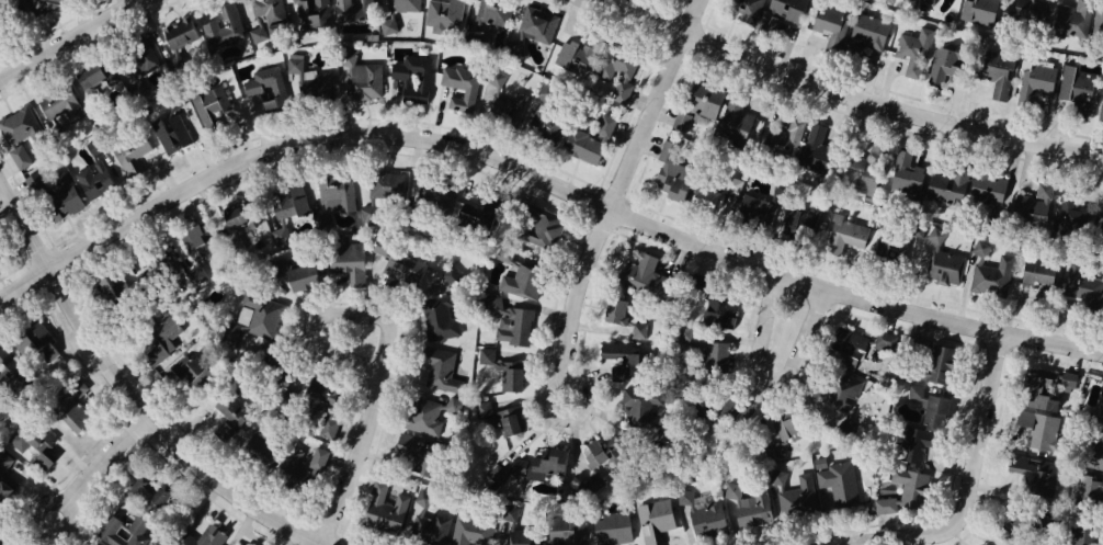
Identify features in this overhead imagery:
building: (912, 0)
building: (925, 1)
building: (39, 5)
building: (742, 5)
building: (406, 7)
building: (351, 9)
building: (788, 10)
building: (307, 11)
building: (445, 11)
building: (979, 11)
building: (272, 12)
building: (1032, 12)
building: (485, 15)
building: (1099, 18)
building: (1071, 19)
building: (533, 21)
building: (830, 24)
building: (174, 29)
building: (224, 30)
building: (869, 31)
building: (254, 35)
building: (477, 38)
road: (70, 39)
building: (513, 47)
building: (913, 52)
building: (594, 53)
building: (125, 56)
building: (943, 60)
building: (139, 65)
building: (314, 71)
building: (999, 73)
building: (88, 76)
building: (625, 77)
building: (1041, 78)
building: (458, 79)
building: (493, 79)
building: (261, 80)
building: (362, 81)
building: (412, 81)
building: (1077, 90)
building: (545, 93)
road: (856, 93)
building: (56, 99)
building: (95, 106)
building: (213, 107)
building: (697, 109)
building: (509, 110)
building: (1101, 113)
building: (189, 118)
building: (734, 123)
building: (15, 124)
building: (543, 125)
building: (172, 135)
building: (591, 141)
building: (780, 145)
building: (816, 151)
building: (135, 156)
building: (21, 157)
building: (872, 169)
building: (906, 172)
building: (672, 175)
building: (93, 181)
building: (37, 183)
building: (948, 184)
road: (571, 188)
building: (987, 189)
building: (395, 190)
building: (715, 192)
building: (334, 193)
building: (436, 196)
road: (619, 196)
building: (284, 202)
building: (56, 205)
building: (1033, 205)
building: (752, 207)
building: (1069, 214)
building: (236, 216)
building: (806, 218)
building: (478, 220)
building: (1102, 228)
building: (916, 229)
building: (547, 232)
building: (281, 236)
building: (846, 236)
building: (191, 240)
building: (896, 243)
building: (406, 256)
building: (345, 259)
building: (943, 259)
building: (400, 269)
building: (989, 271)
building: (152, 272)
building: (293, 272)
building: (1039, 272)
building: (649, 275)
building: (196, 277)
building: (453, 279)
building: (522, 283)
building: (1083, 284)
road: (27, 286)
building: (106, 294)
building: (719, 303)
building: (1102, 311)
road: (334, 314)
building: (442, 319)
building: (269, 320)
building: (624, 320)
building: (522, 330)
building: (227, 337)
building: (161, 340)
building: (32, 341)
building: (855, 345)
building: (706, 351)
building: (486, 355)
building: (619, 359)
building: (437, 364)
building: (935, 364)
building: (277, 367)
building: (183, 372)
building: (13, 375)
building: (509, 377)
road: (765, 379)
building: (1048, 385)
road: (133, 388)
building: (321, 397)
building: (844, 397)
building: (1099, 402)
building: (640, 404)
building: (929, 404)
building: (68, 405)
building: (231, 409)
building: (503, 415)
building: (724, 415)
building: (428, 419)
building: (787, 425)
building: (326, 427)
building: (1039, 428)
building: (33, 443)
building: (913, 443)
building: (1092, 449)
building: (262, 450)
building: (418, 453)
building: (317, 457)
building: (601, 457)
building: (3, 461)
road: (361, 461)
building: (292, 462)
building: (538, 464)
road: (103, 465)
building: (496, 472)
building: (1035, 472)
building: (838, 479)
road: (969, 485)
building: (903, 491)
building: (1089, 491)
building: (145, 492)
building: (794, 495)
building: (387, 506)
building: (749, 506)
building: (704, 514)
building: (656, 519)
building: (427, 522)
building: (611, 525)
building: (1019, 526)
building: (473, 529)
building: (558, 530)
building: (520, 531)
building: (122, 532)
building: (185, 534)
building: (1083, 535)
building: (7, 541)

